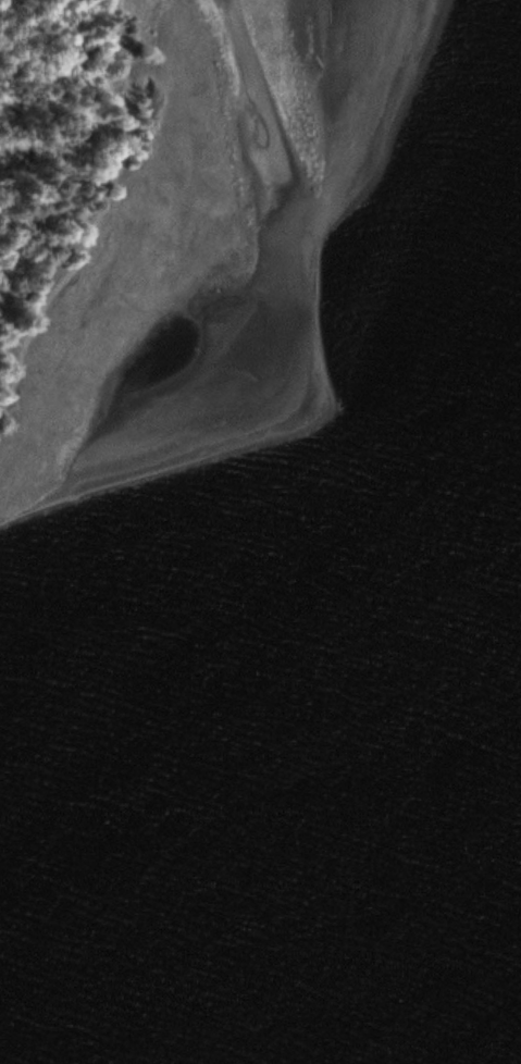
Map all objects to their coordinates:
road: (257, 101)

